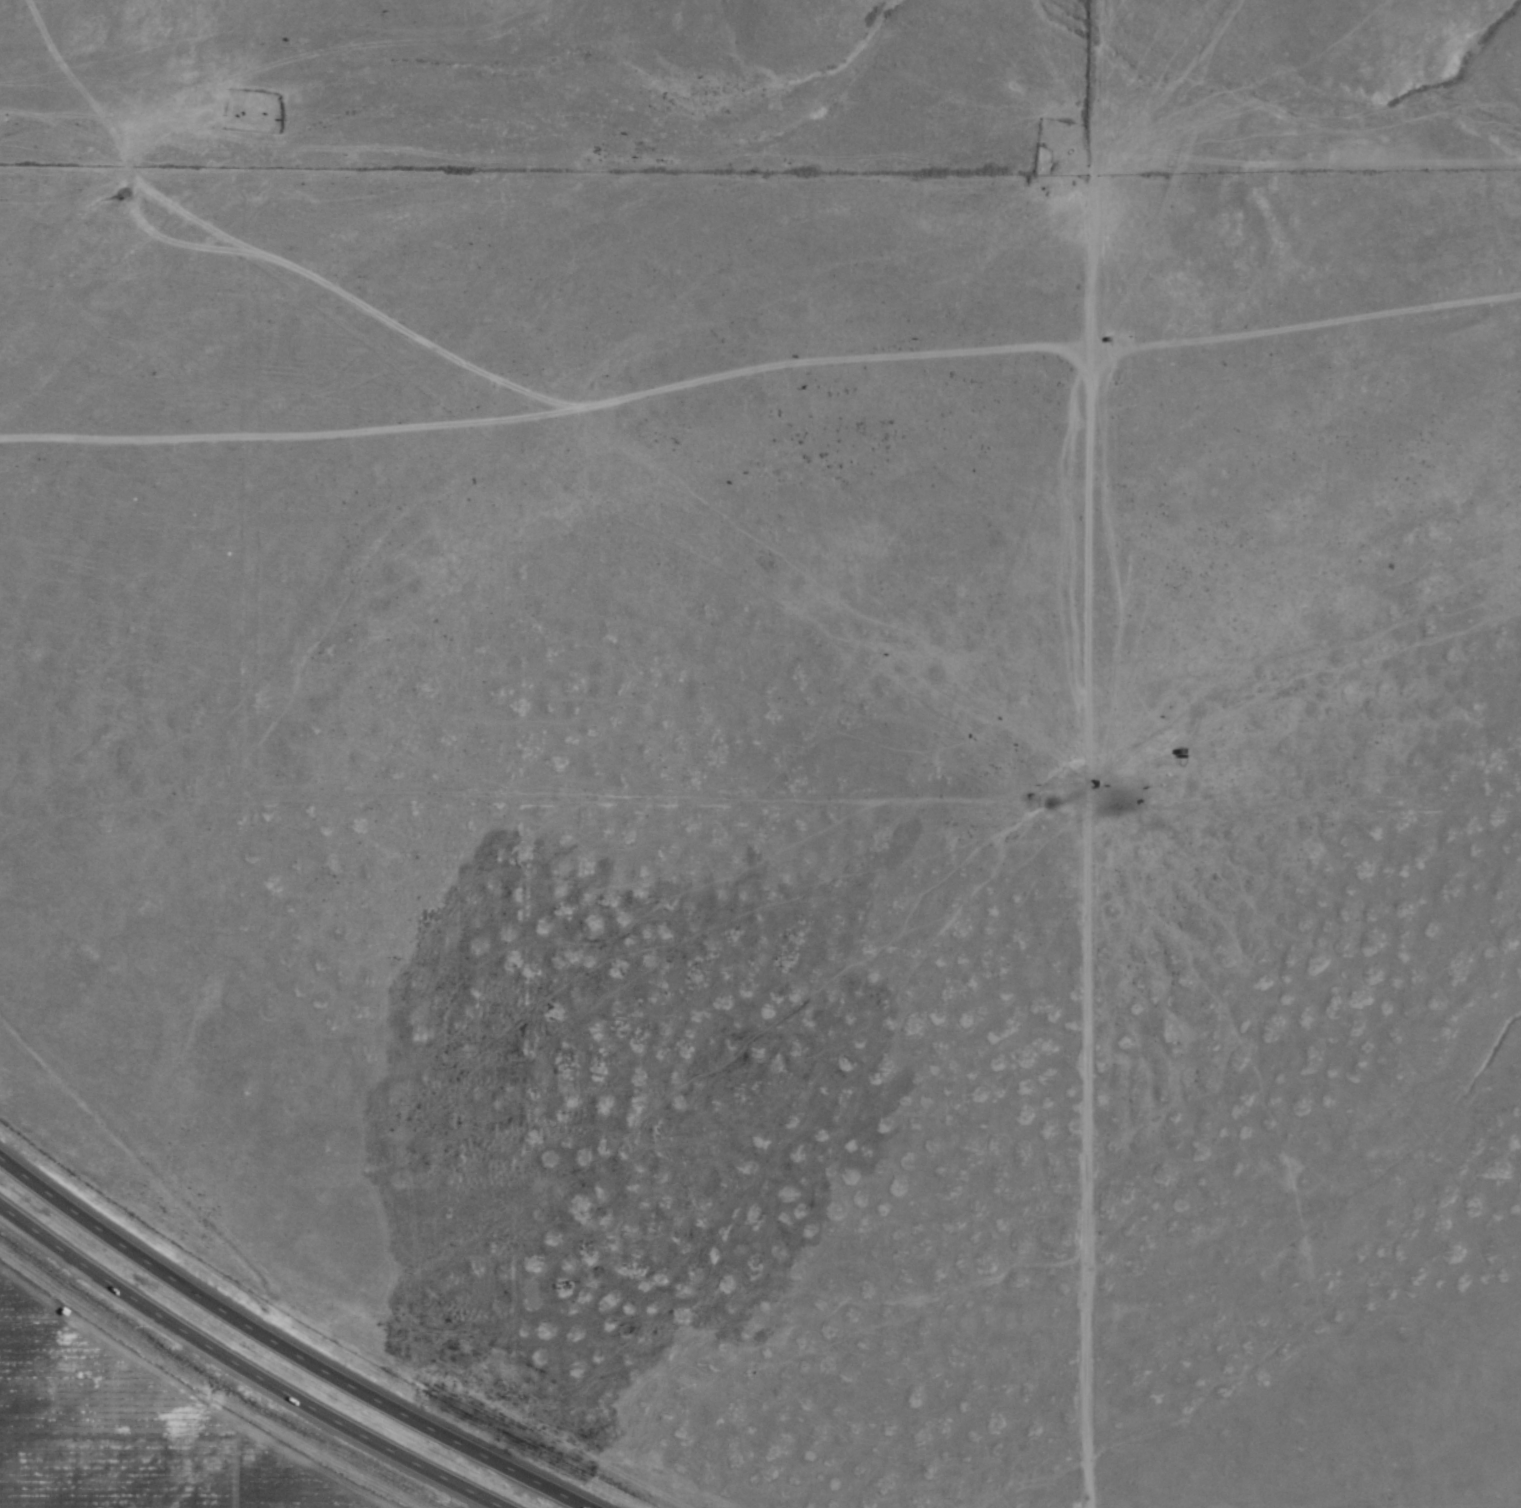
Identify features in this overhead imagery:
road: (490, 172)
road: (280, 1338)
road: (232, 1362)

